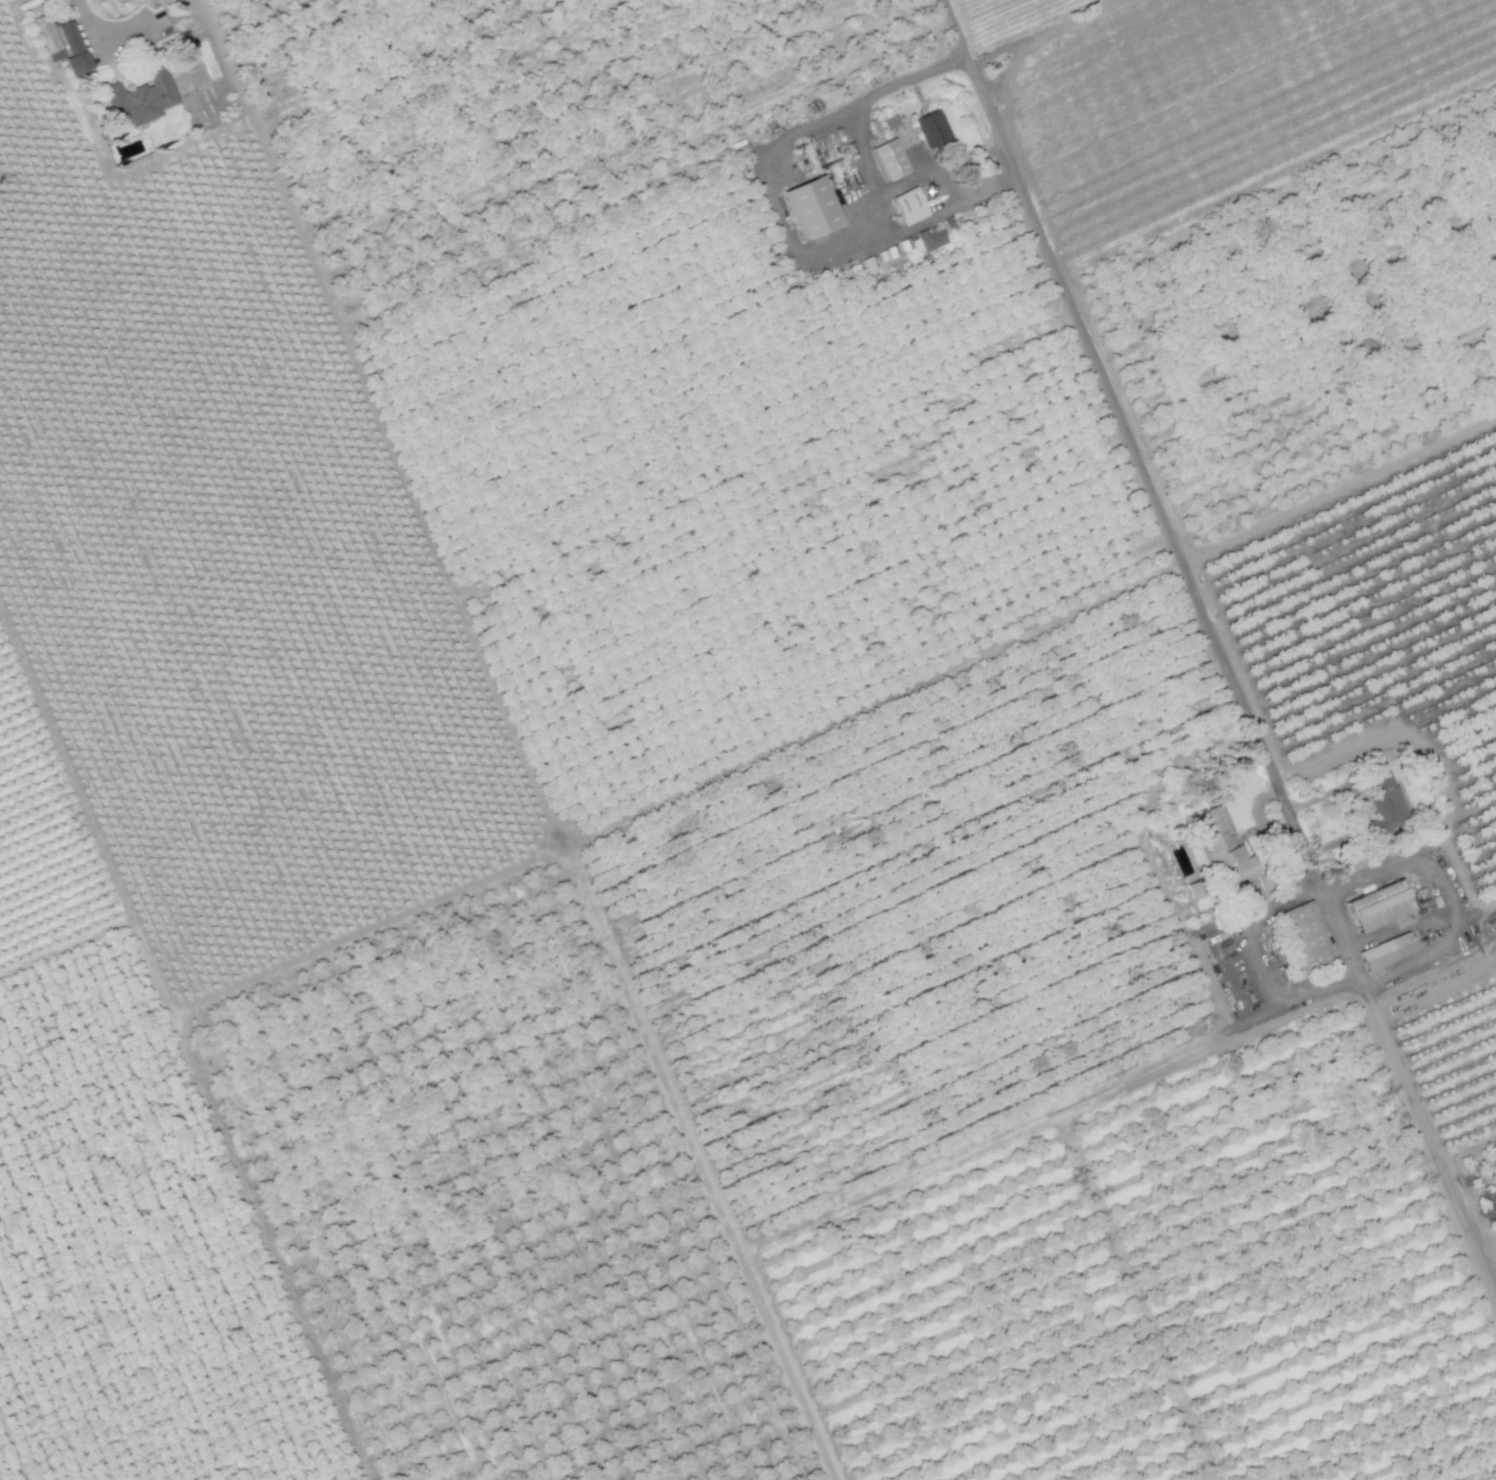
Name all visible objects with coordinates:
road: (91, 29)
road: (1043, 31)
building: (45, 37)
building: (70, 49)
road: (1009, 69)
building: (138, 100)
building: (887, 122)
building: (929, 128)
building: (887, 159)
road: (903, 186)
building: (908, 206)
building: (809, 207)
road: (778, 210)
building: (932, 237)
building: (888, 253)
building: (869, 265)
road: (1144, 471)
building: (1383, 802)
building: (1213, 837)
building: (1237, 872)
building: (1376, 907)
road: (1450, 916)
building: (1305, 938)
building: (1384, 953)
road: (1260, 957)

